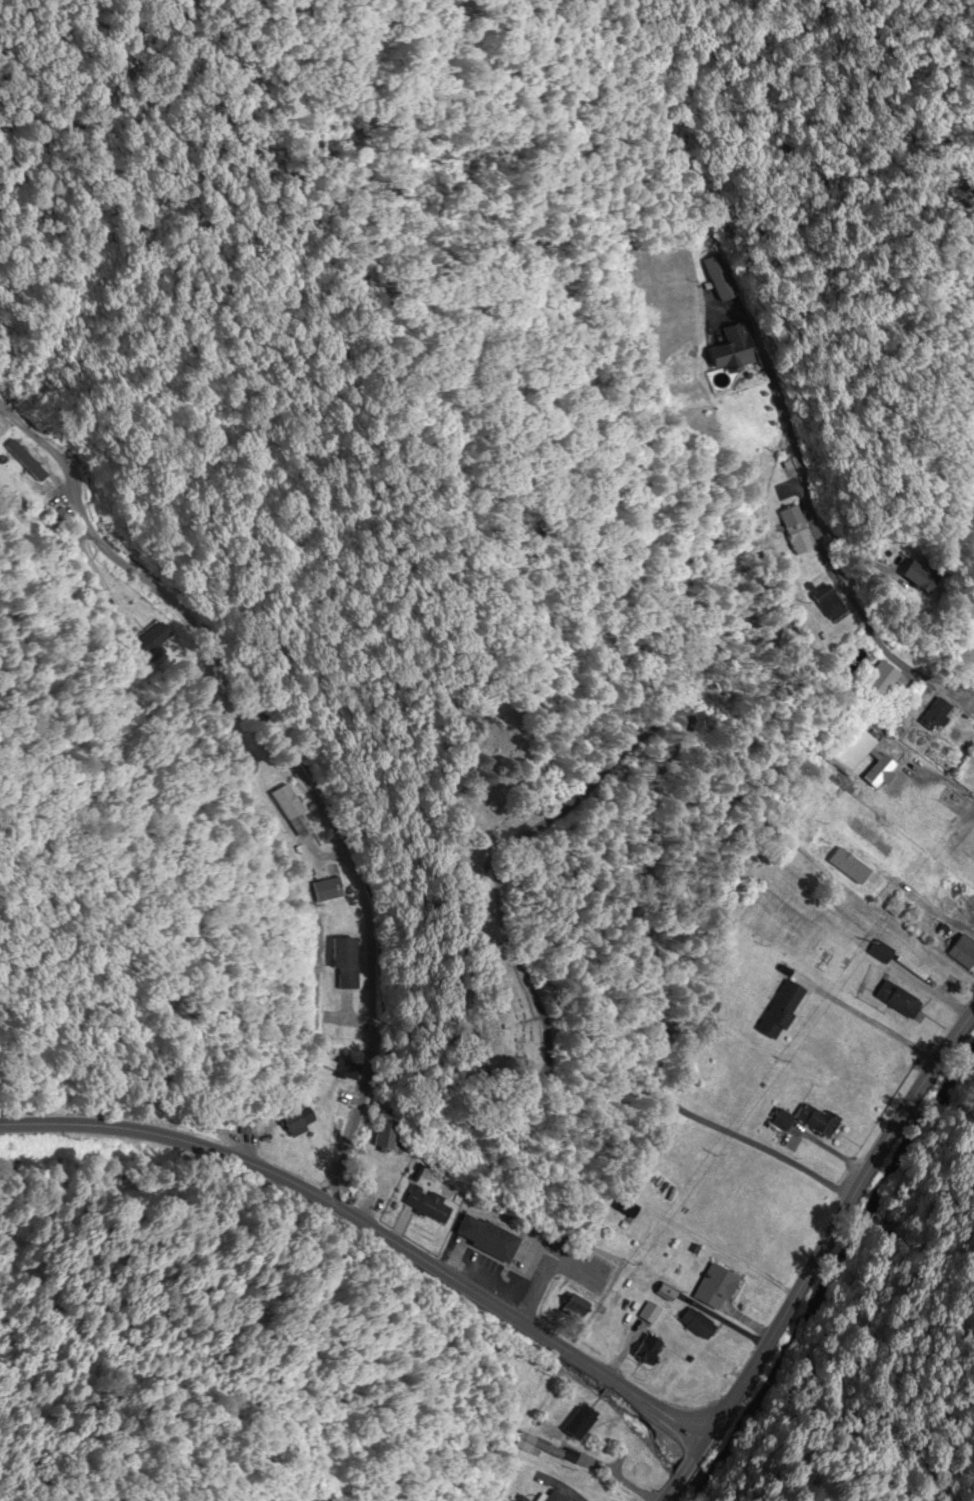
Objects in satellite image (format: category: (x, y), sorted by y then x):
building: (719, 279)
road: (788, 288)
building: (731, 352)
building: (27, 479)
building: (794, 531)
building: (932, 582)
building: (830, 604)
building: (882, 679)
building: (936, 715)
building: (944, 757)
road: (271, 764)
building: (885, 764)
building: (287, 803)
building: (964, 850)
park: (496, 861)
building: (849, 867)
building: (327, 890)
road: (654, 897)
building: (972, 922)
building: (878, 953)
building: (960, 953)
building: (345, 964)
building: (895, 1000)
building: (780, 1010)
building: (339, 1070)
road: (508, 1079)
building: (814, 1121)
building: (388, 1132)
building: (429, 1205)
road: (835, 1218)
road: (369, 1227)
road: (115, 1235)
building: (489, 1238)
building: (712, 1287)
building: (576, 1305)
building: (694, 1325)
building: (646, 1349)
building: (579, 1423)
building: (527, 1444)
road: (676, 1469)
building: (550, 1497)

